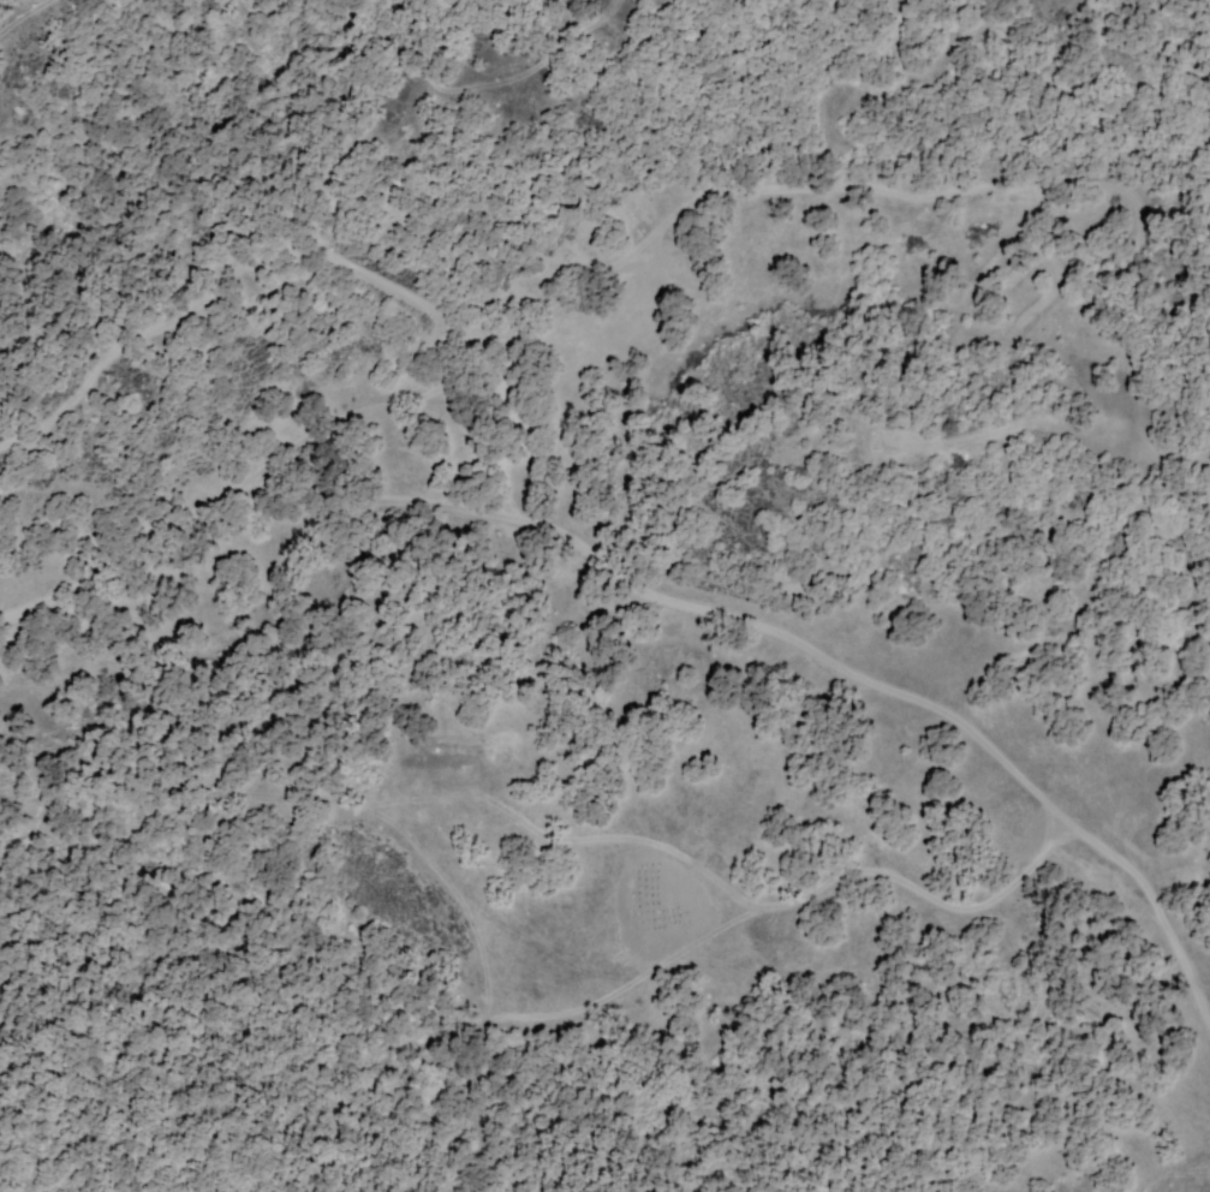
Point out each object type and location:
road: (255, 118)
road: (668, 598)

